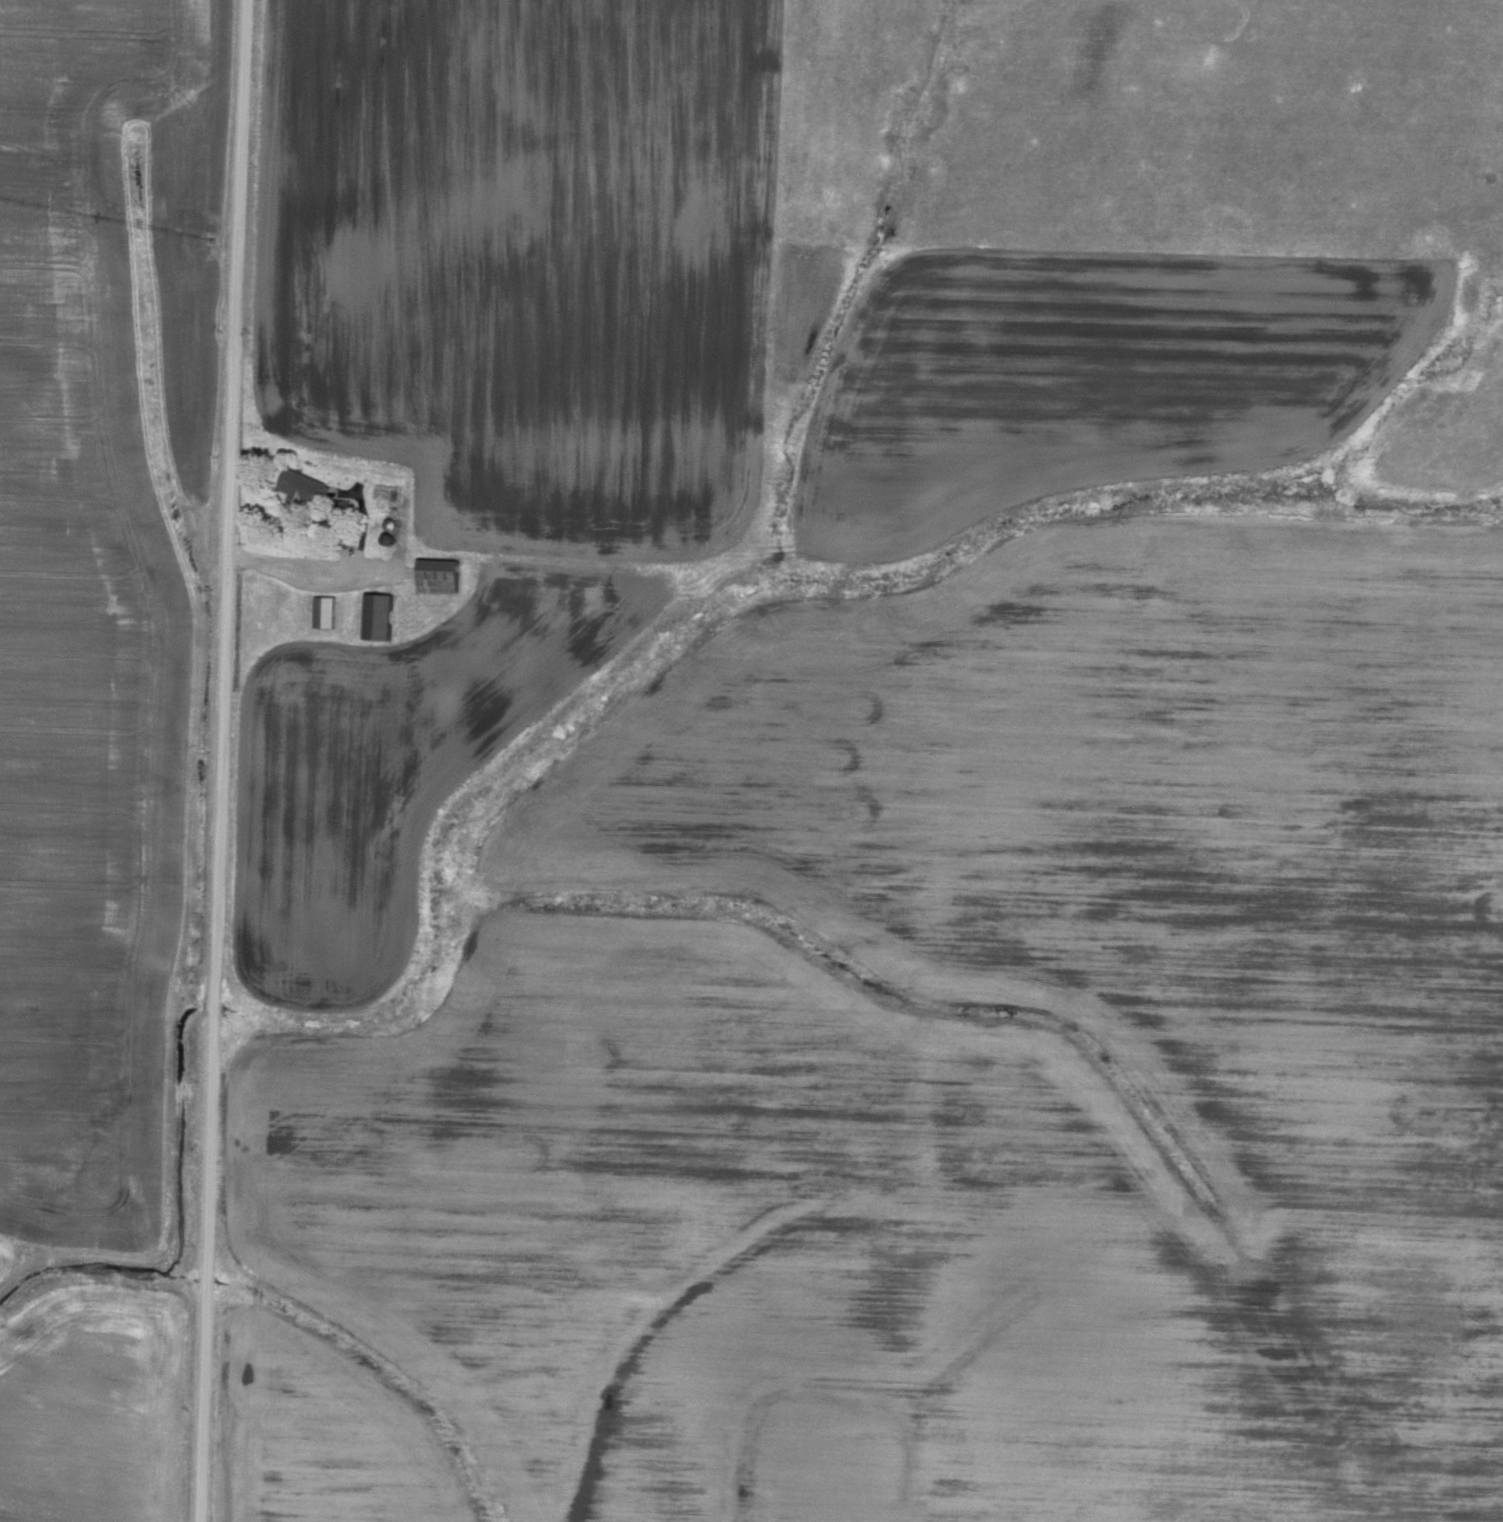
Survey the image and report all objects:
building: (346, 505)
road: (319, 568)
building: (327, 609)
building: (381, 614)
road: (223, 760)

